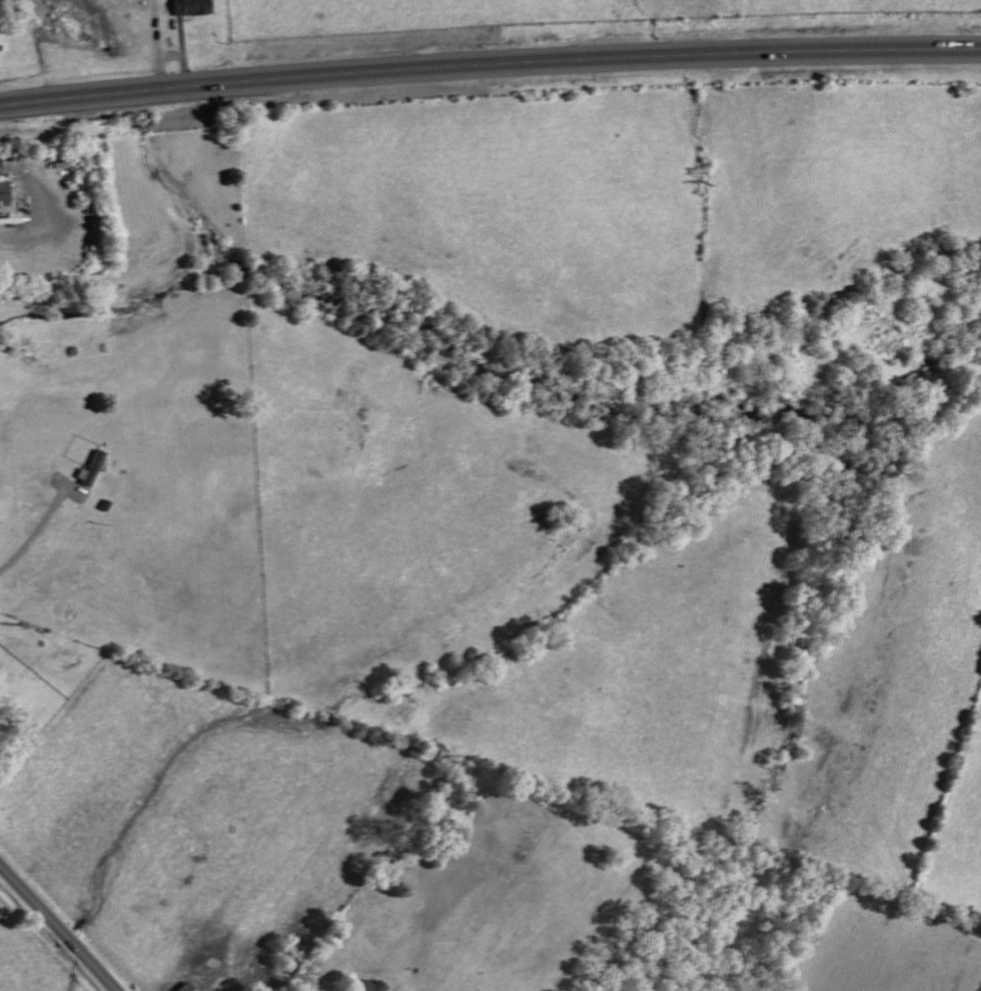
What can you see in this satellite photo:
building: (190, 7)
road: (489, 66)
building: (5, 199)
building: (94, 468)
road: (31, 534)
road: (59, 926)
building: (370, 986)
building: (184, 987)

